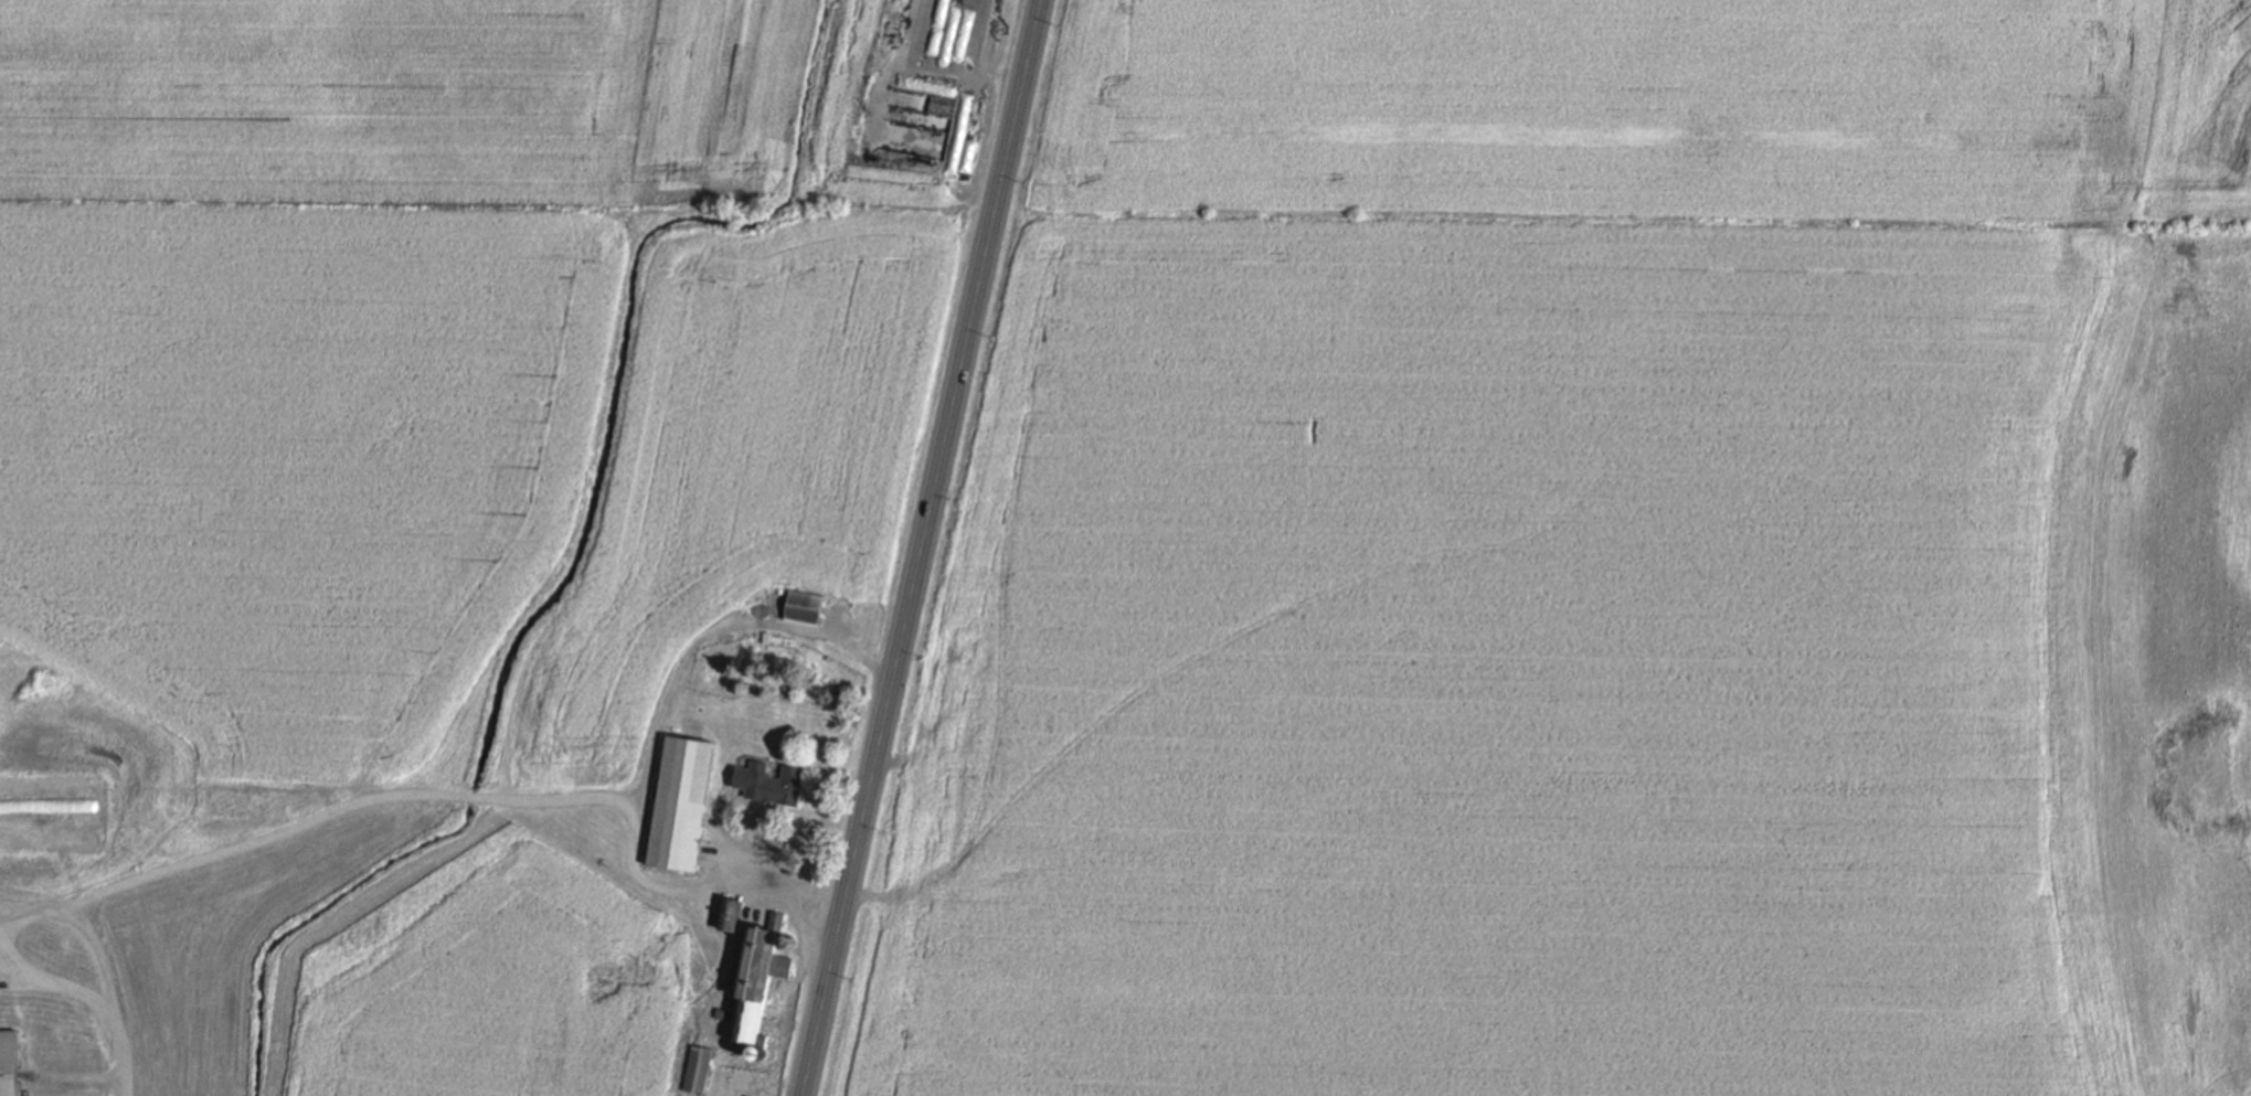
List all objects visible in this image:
crop: (1655, 106)
building: (915, 180)
road: (922, 547)
building: (805, 605)
building: (778, 785)
building: (681, 802)
building: (13, 827)
building: (17, 839)
road: (118, 884)
road: (60, 909)
building: (731, 914)
building: (760, 977)
building: (725, 1013)
road: (126, 1055)
building: (10, 1063)
building: (699, 1068)

